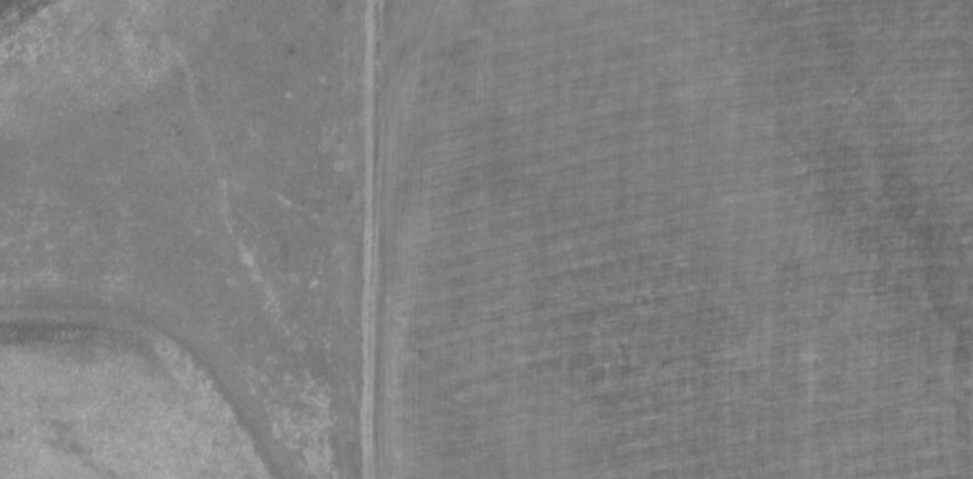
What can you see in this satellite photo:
crop: (674, 239)

